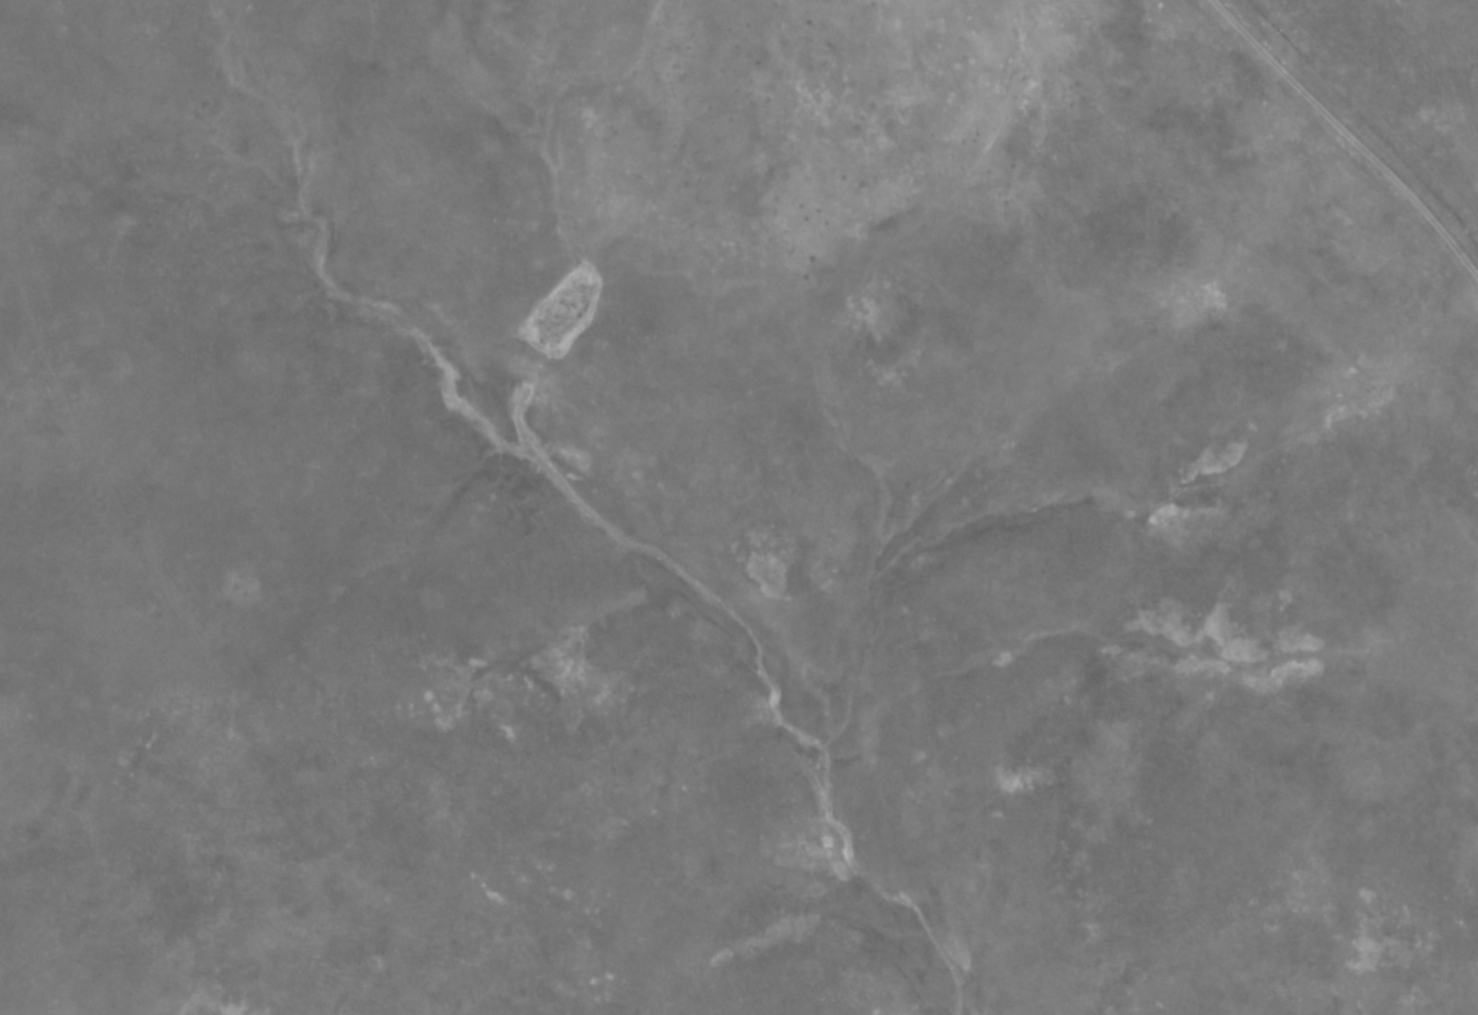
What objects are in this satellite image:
road: (1357, 132)

